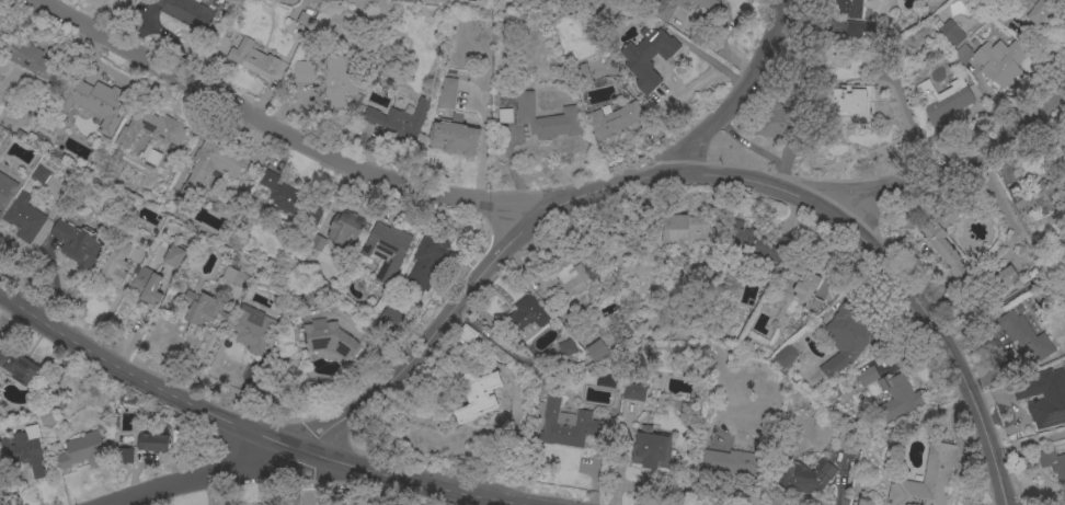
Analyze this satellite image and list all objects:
building: (122, 0)
building: (847, 4)
building: (1032, 9)
building: (659, 10)
building: (186, 12)
building: (857, 27)
building: (951, 31)
building: (974, 41)
building: (644, 44)
building: (962, 53)
building: (252, 57)
building: (31, 59)
building: (999, 60)
building: (304, 70)
building: (581, 73)
building: (336, 80)
road: (742, 88)
building: (446, 91)
building: (849, 101)
building: (95, 104)
building: (947, 104)
building: (545, 117)
building: (612, 117)
building: (399, 120)
building: (777, 120)
road: (283, 124)
building: (151, 131)
building: (453, 137)
building: (149, 157)
road: (684, 169)
road: (947, 170)
building: (38, 174)
building: (7, 192)
building: (280, 194)
building: (1034, 198)
building: (23, 218)
building: (683, 227)
building: (347, 228)
building: (941, 240)
building: (753, 242)
building: (76, 243)
building: (387, 250)
building: (174, 256)
building: (428, 260)
building: (117, 264)
building: (568, 276)
building: (1003, 276)
building: (802, 282)
building: (148, 286)
building: (1018, 306)
building: (203, 308)
building: (523, 314)
building: (389, 318)
building: (253, 331)
building: (1019, 332)
building: (845, 335)
building: (328, 336)
building: (565, 346)
building: (595, 348)
building: (783, 355)
building: (20, 367)
building: (863, 375)
building: (633, 391)
building: (477, 394)
building: (1043, 395)
building: (897, 397)
building: (572, 424)
road: (264, 439)
building: (154, 444)
road: (1027, 445)
building: (650, 448)
building: (25, 450)
building: (82, 451)
building: (730, 461)
building: (1053, 463)
road: (204, 478)
building: (813, 479)
building: (925, 479)

